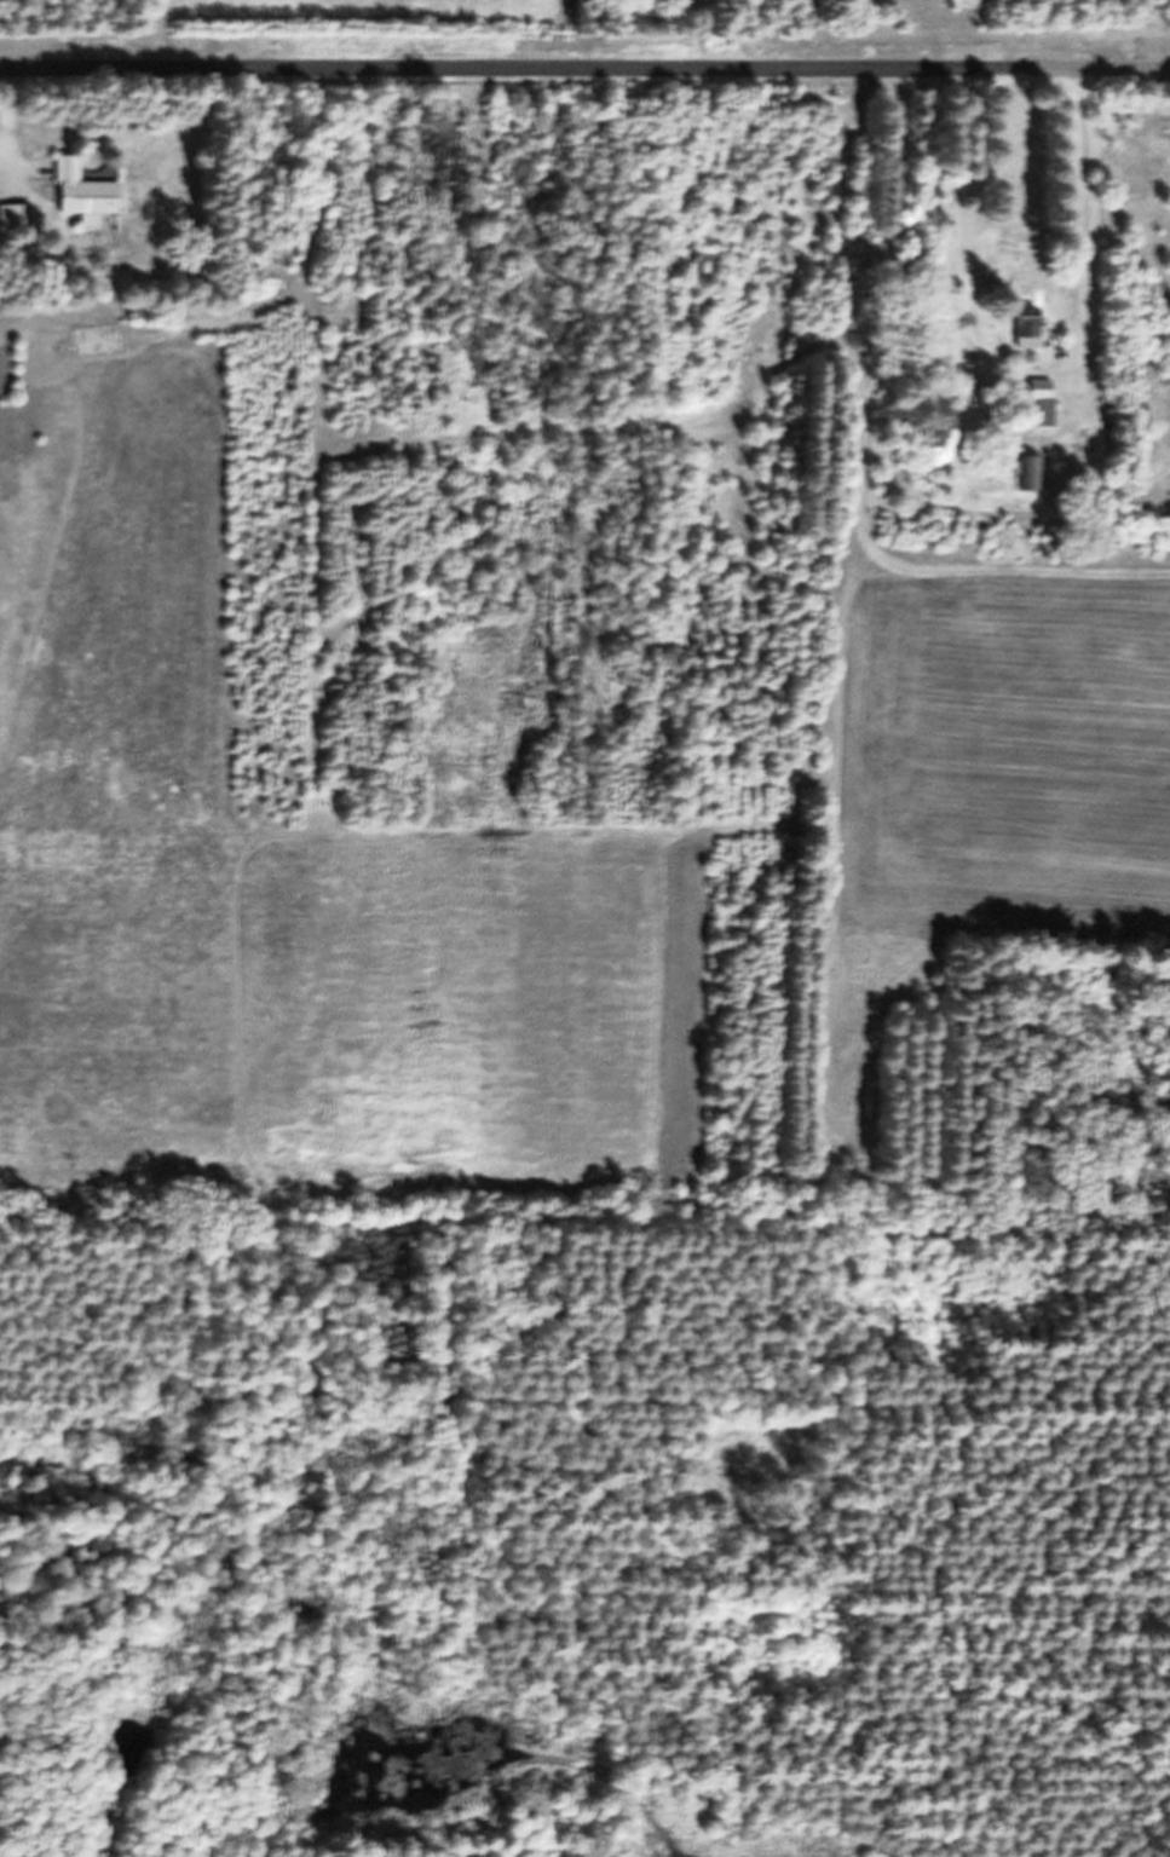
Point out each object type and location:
road: (445, 34)
road: (584, 69)
building: (87, 201)
building: (16, 224)
building: (1028, 340)
building: (1047, 414)
building: (1033, 481)

